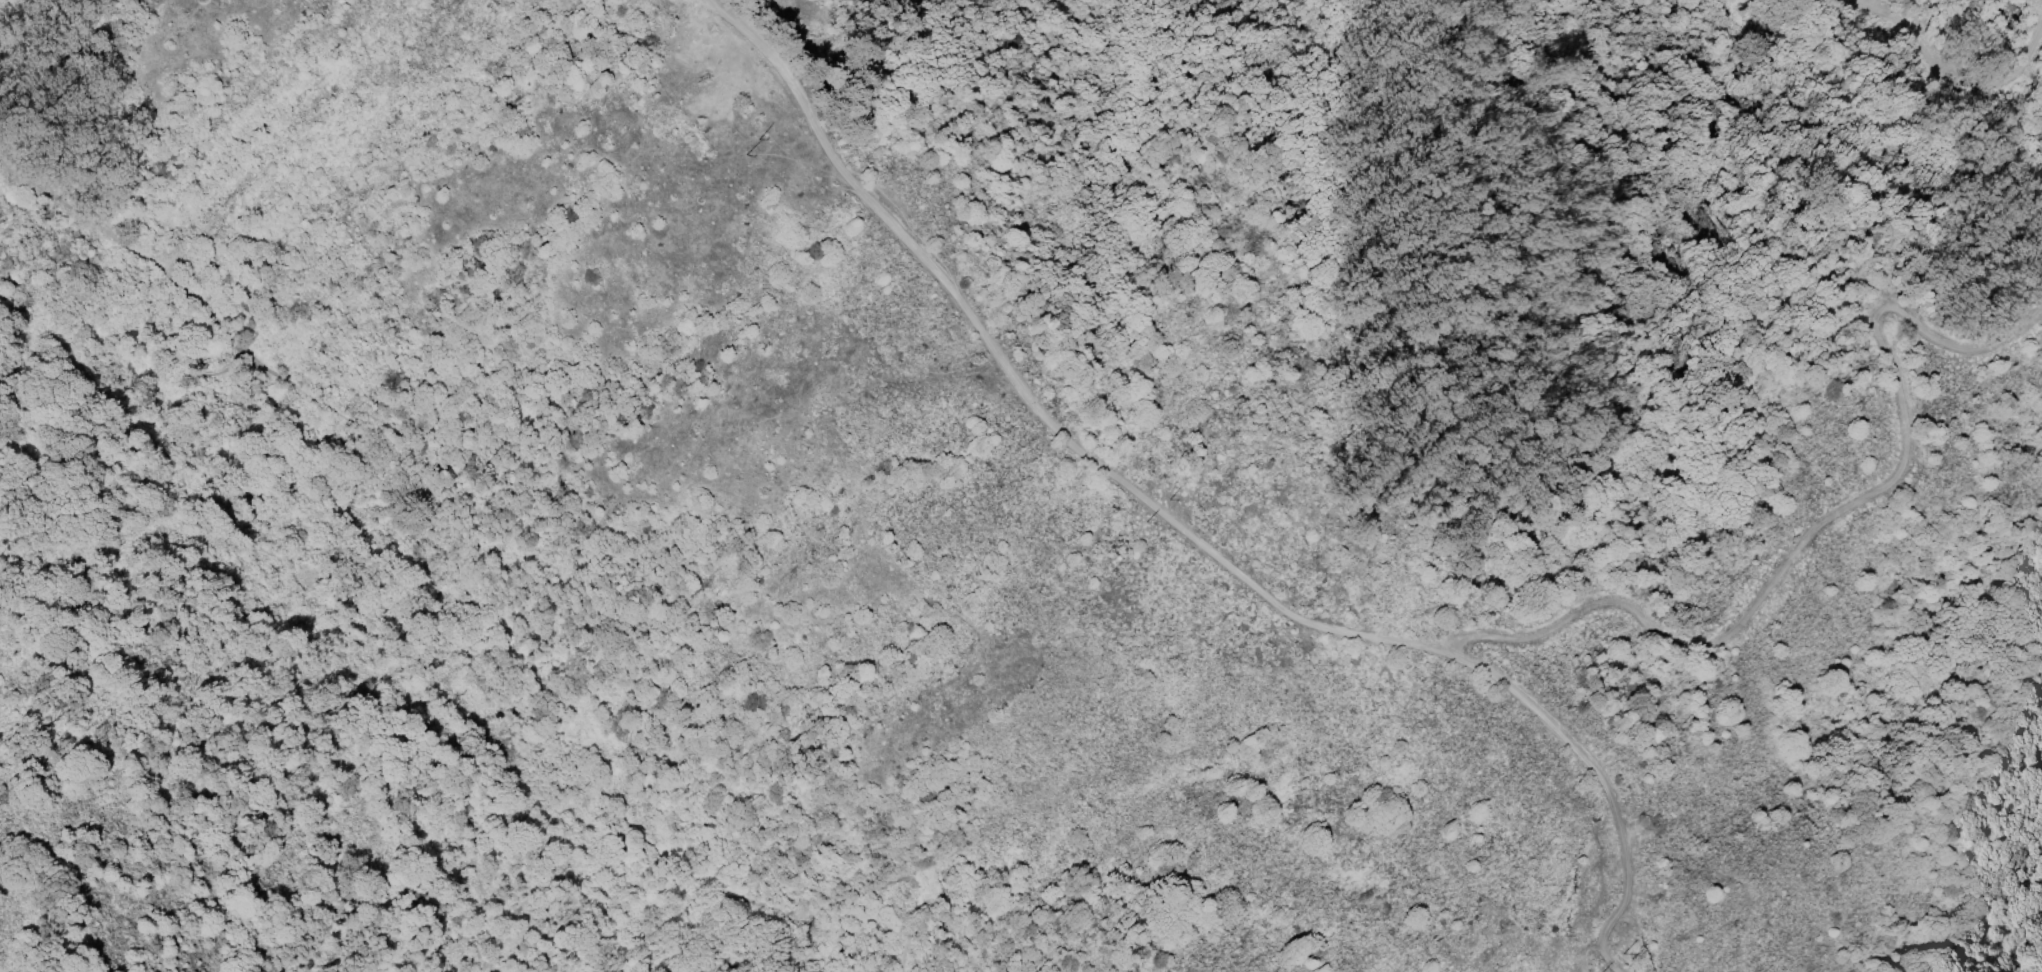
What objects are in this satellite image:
road: (1977, 94)
road: (126, 242)
road: (113, 346)
road: (1106, 478)
road: (1820, 526)
power tower: (309, 583)
road: (561, 735)
road: (1626, 891)

